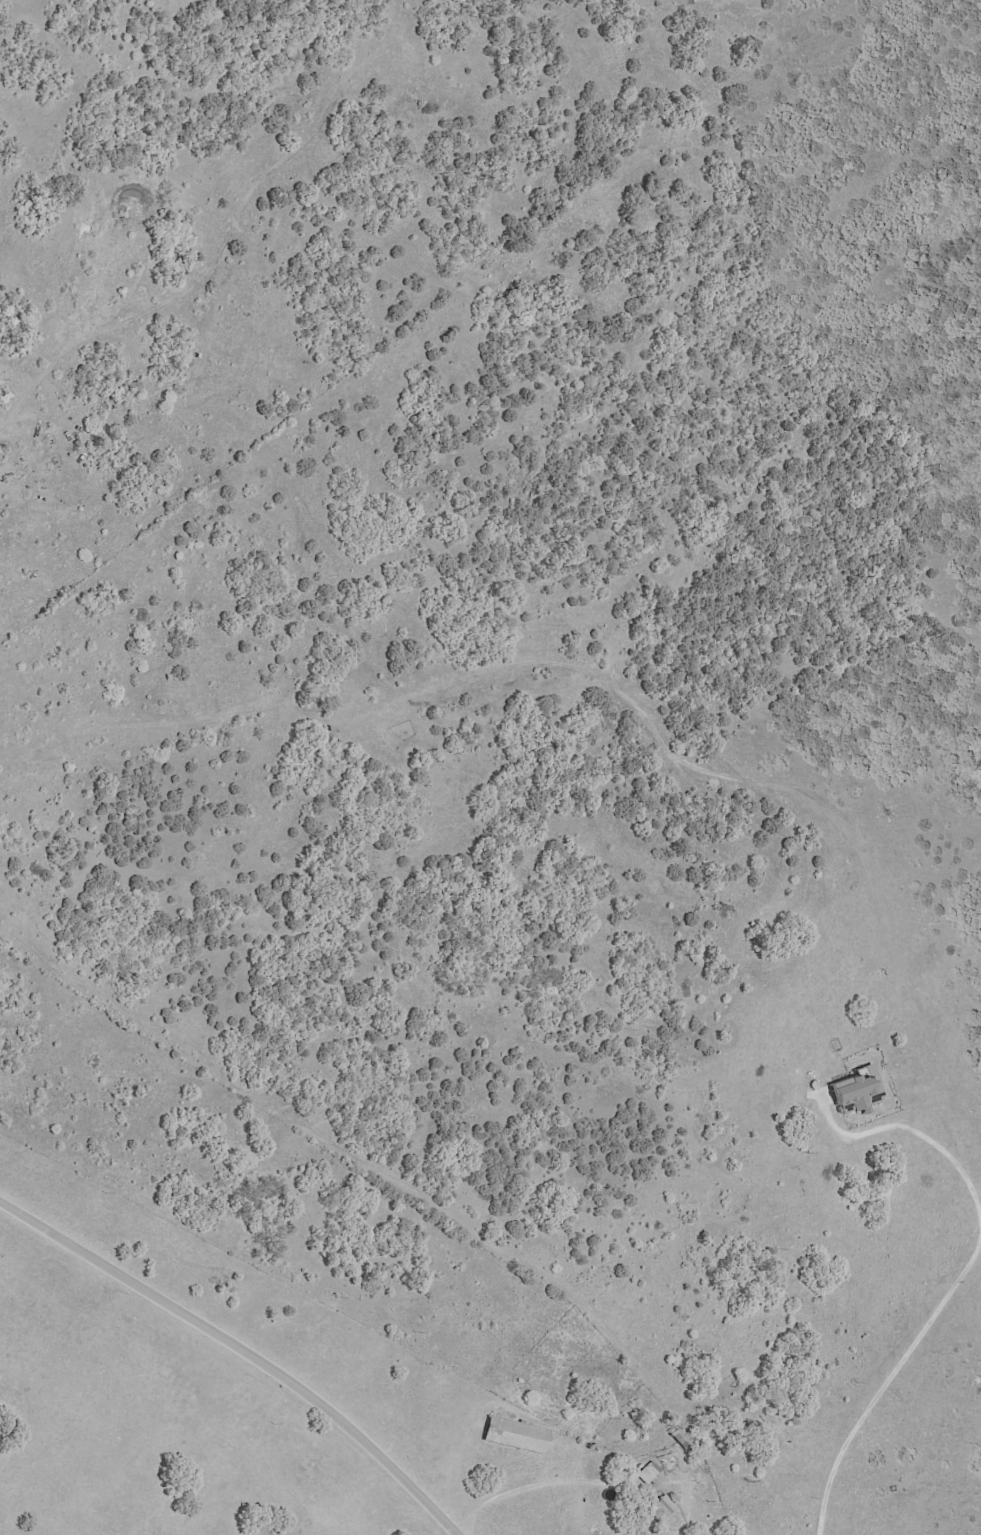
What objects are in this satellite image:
building: (852, 1091)
road: (954, 1280)
road: (242, 1350)
building: (513, 1434)
building: (645, 1472)
road: (570, 1482)
building: (658, 1508)
road: (466, 1516)

